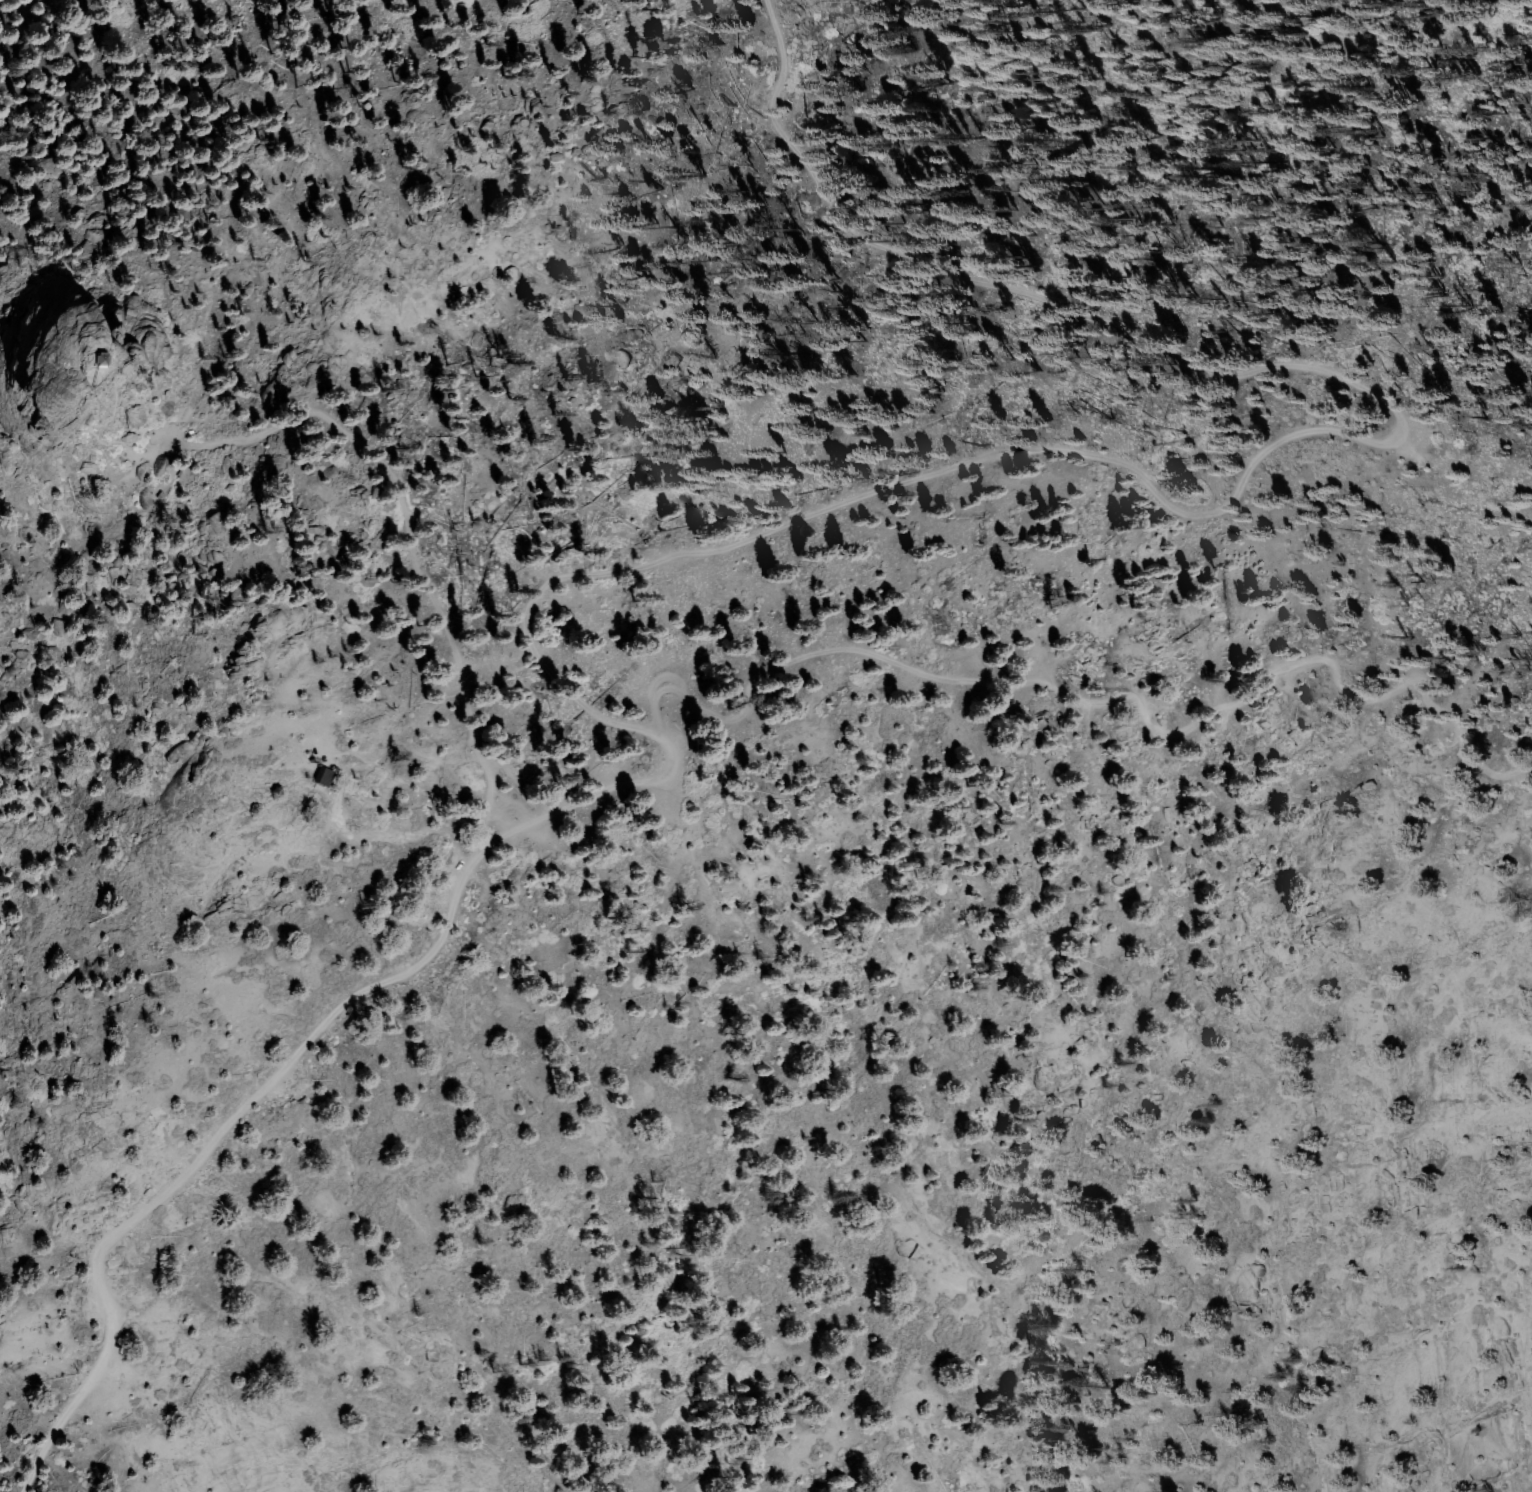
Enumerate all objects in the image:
building: (24, 28)
road: (123, 447)
road: (1181, 511)
road: (412, 542)
road: (1087, 700)
building: (316, 773)
road: (394, 836)
road: (212, 1145)

